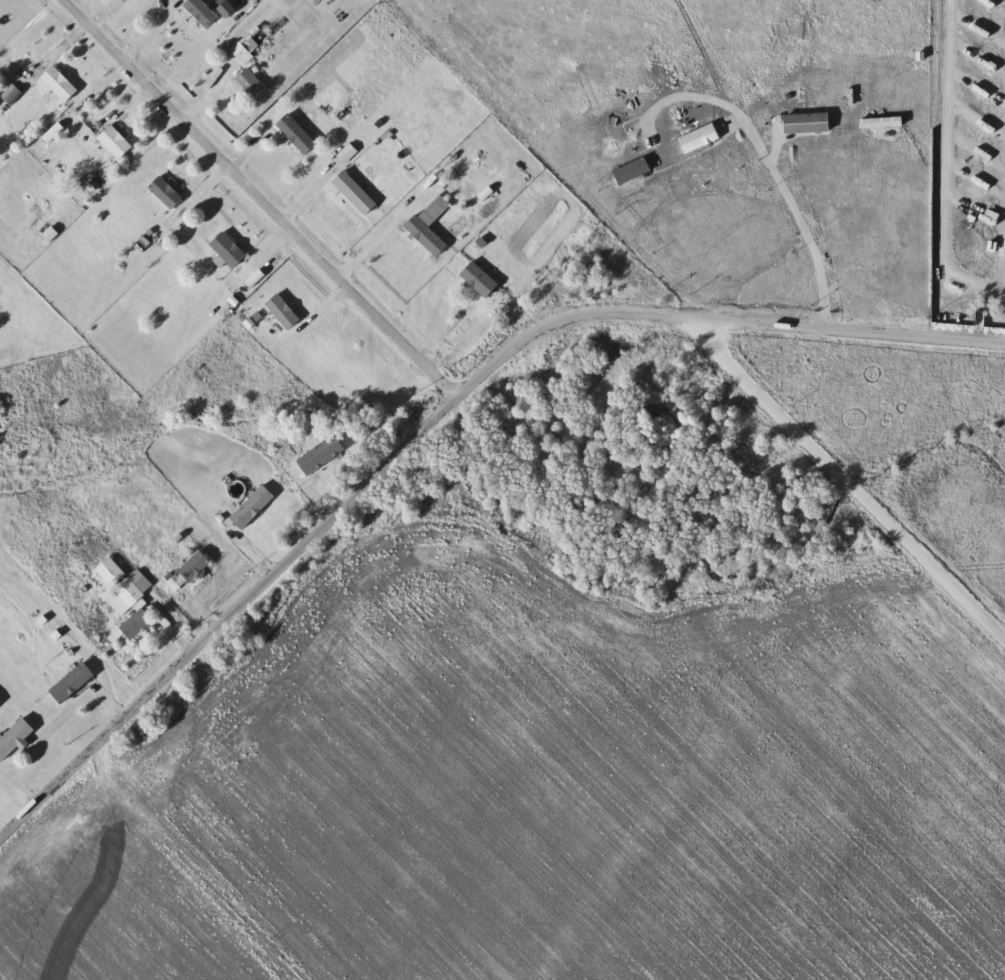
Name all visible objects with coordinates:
building: (202, 12)
building: (230, 57)
building: (250, 82)
building: (58, 84)
building: (11, 94)
building: (115, 142)
building: (348, 154)
building: (166, 192)
building: (355, 192)
road: (260, 195)
road: (795, 209)
building: (430, 225)
road: (373, 242)
building: (228, 249)
road: (1004, 265)
building: (480, 279)
building: (283, 311)
building: (1, 409)
road: (435, 411)
building: (322, 454)
road: (841, 487)
building: (253, 507)
building: (195, 566)
building: (112, 571)
building: (131, 604)
building: (72, 683)
building: (0, 704)
building: (15, 738)

